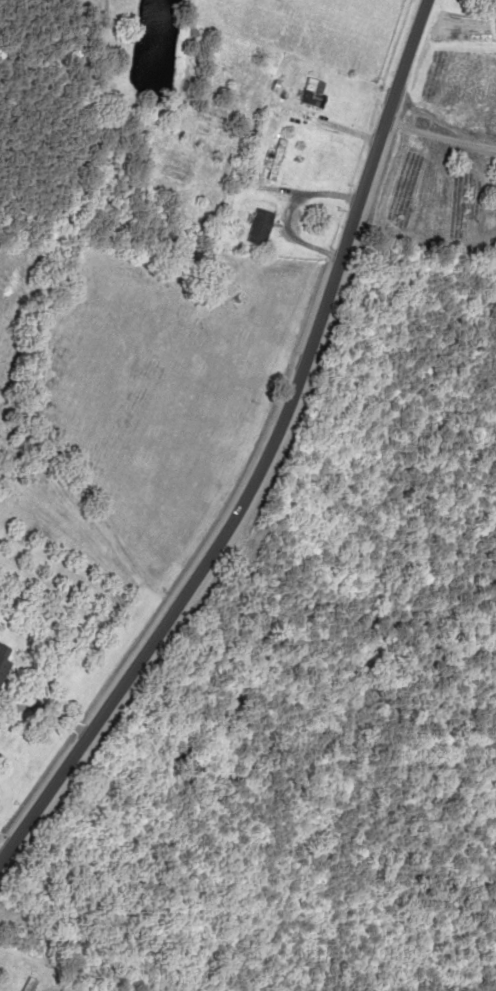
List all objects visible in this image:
building: (489, 2)
building: (309, 92)
building: (272, 158)
building: (255, 226)
road: (269, 442)
building: (1, 650)
building: (1, 664)

